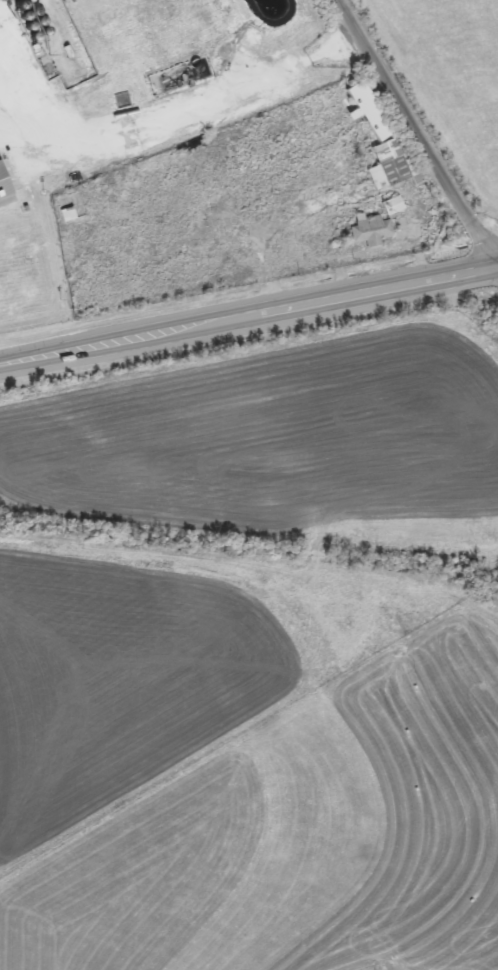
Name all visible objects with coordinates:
building: (366, 110)
road: (188, 114)
road: (419, 131)
building: (390, 163)
building: (4, 192)
building: (391, 205)
building: (369, 231)
road: (249, 318)

